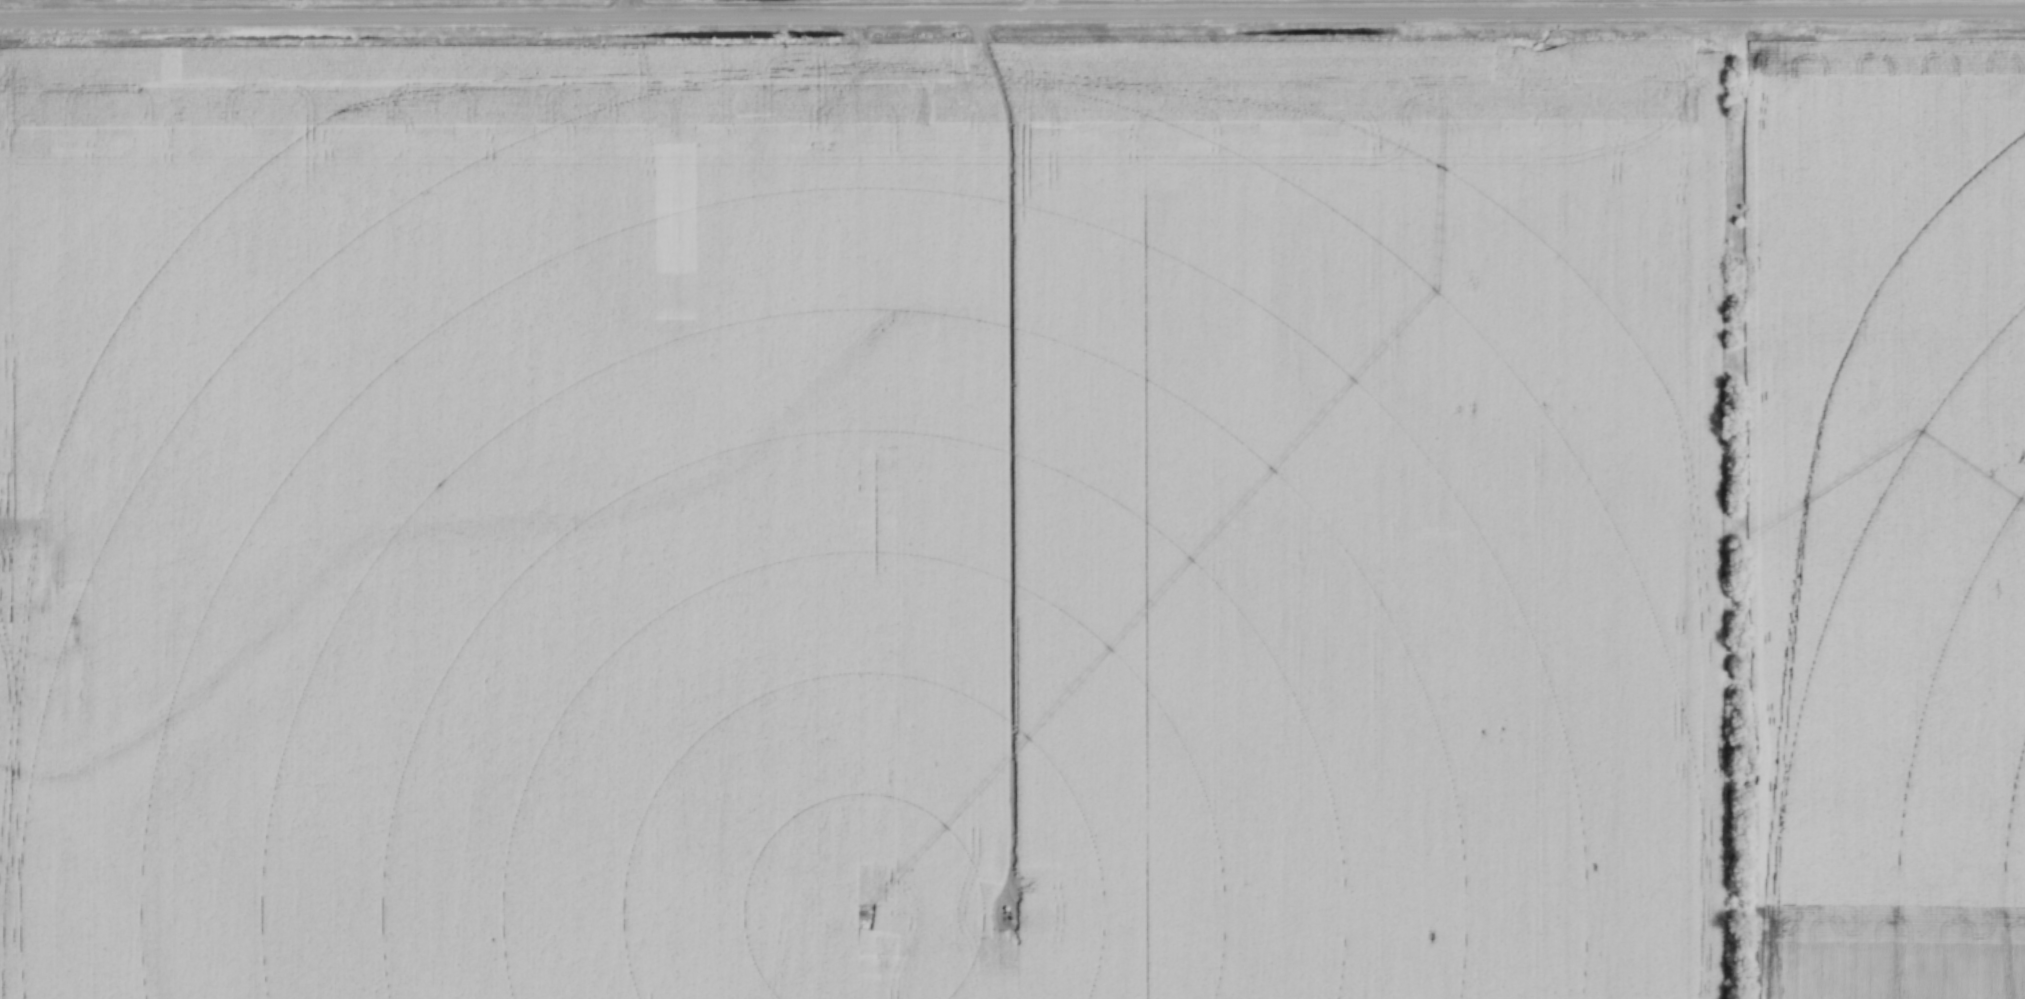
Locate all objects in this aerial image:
road: (1012, 19)

